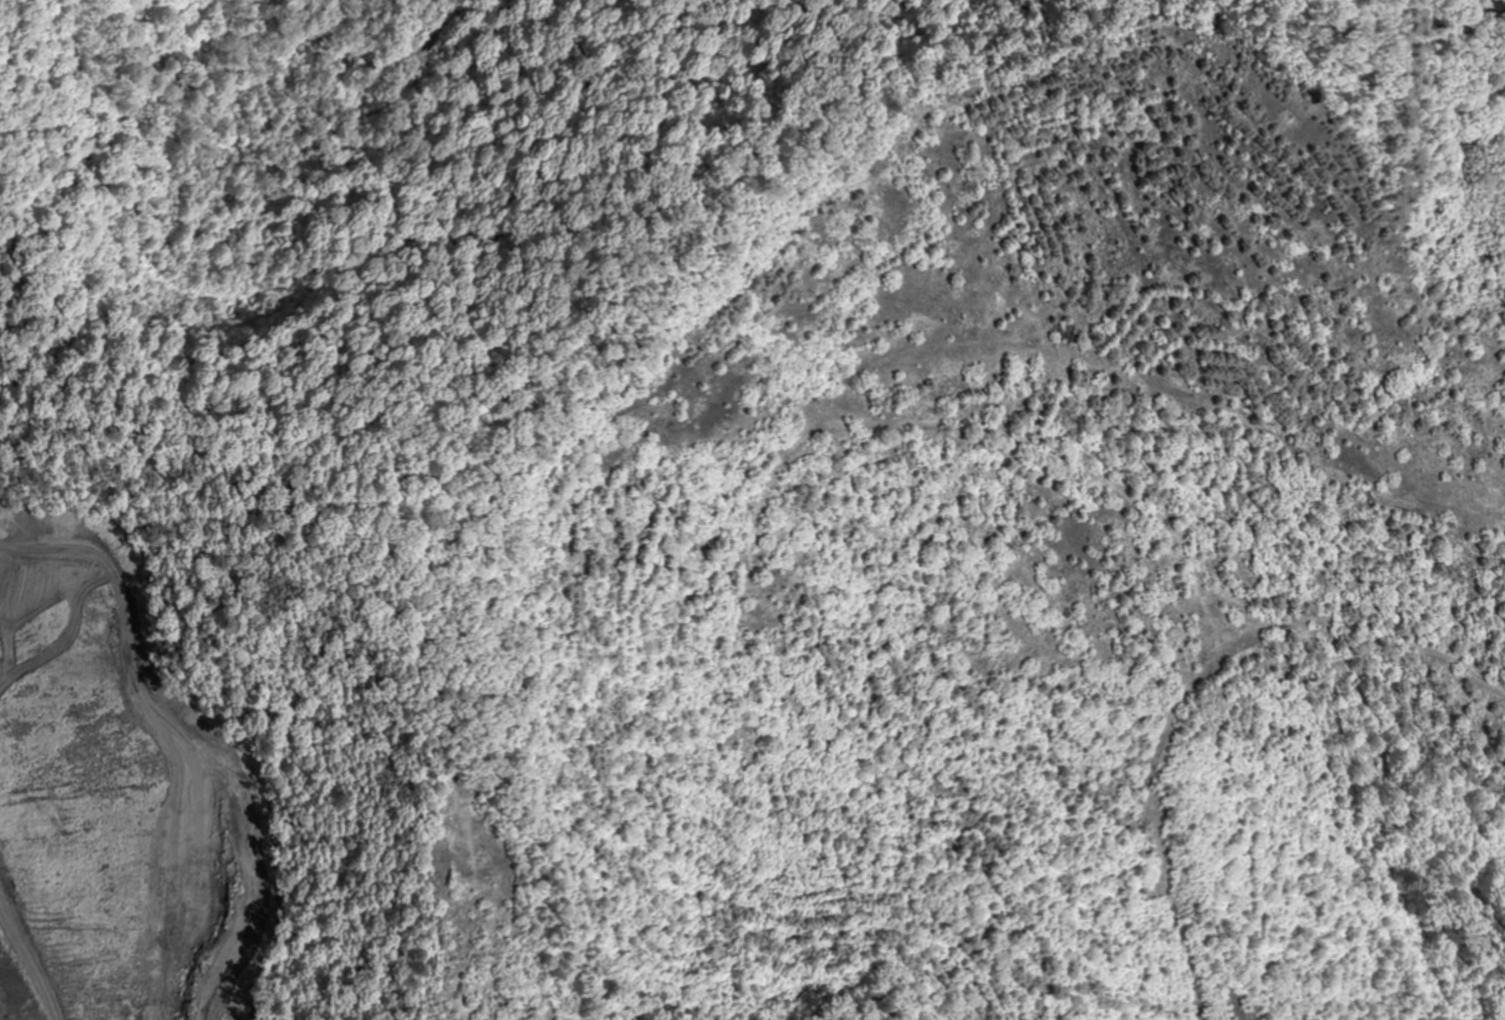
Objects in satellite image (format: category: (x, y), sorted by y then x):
quarry: (75, 836)

